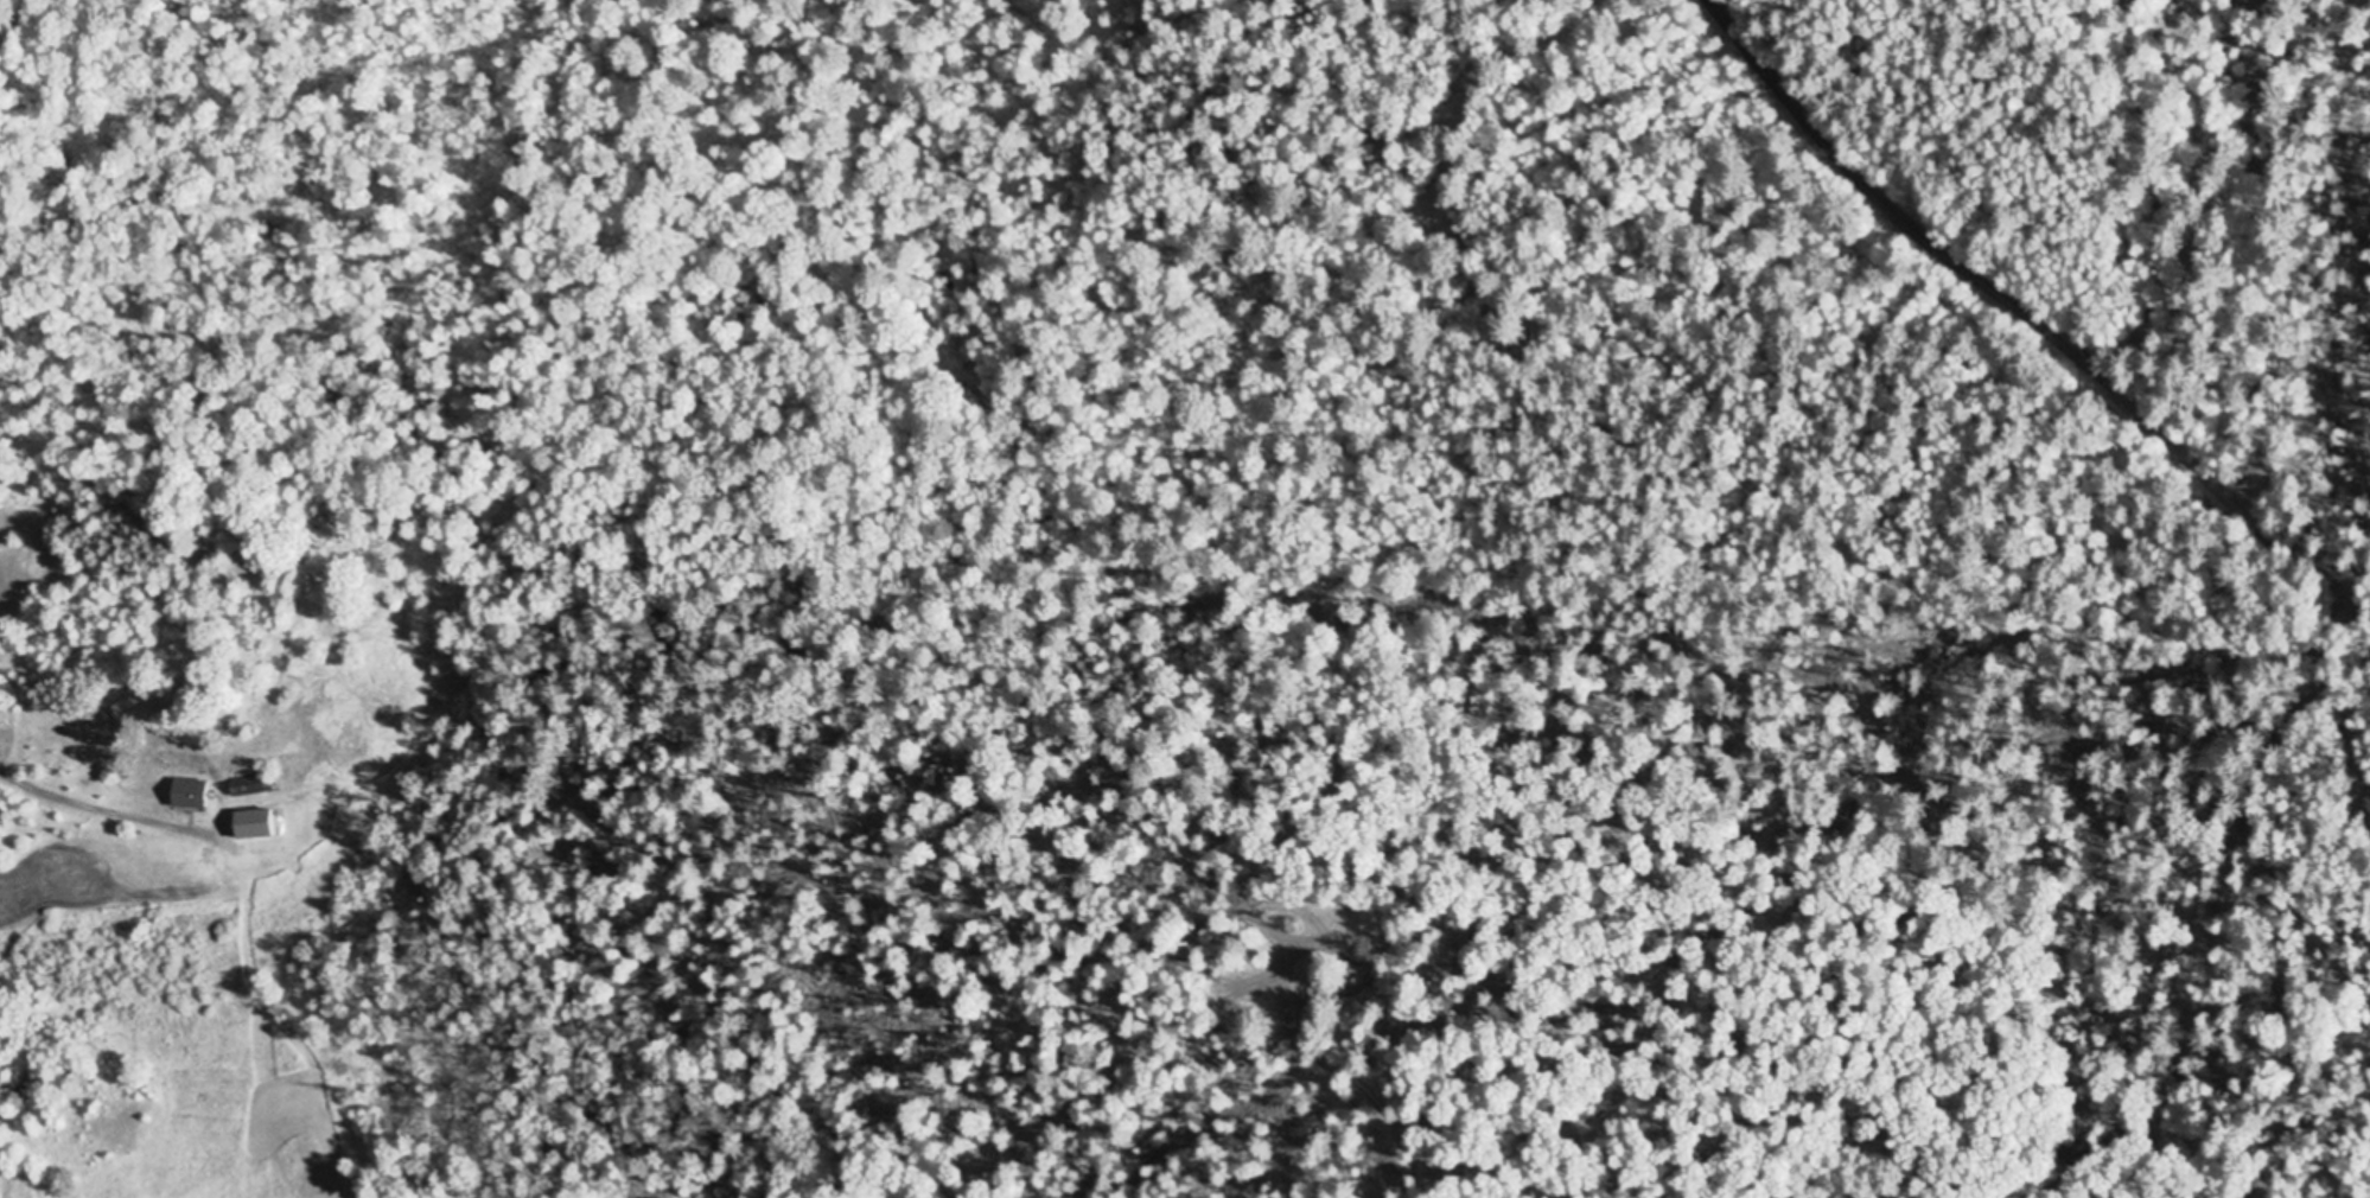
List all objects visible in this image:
road: (1961, 273)
road: (87, 810)

